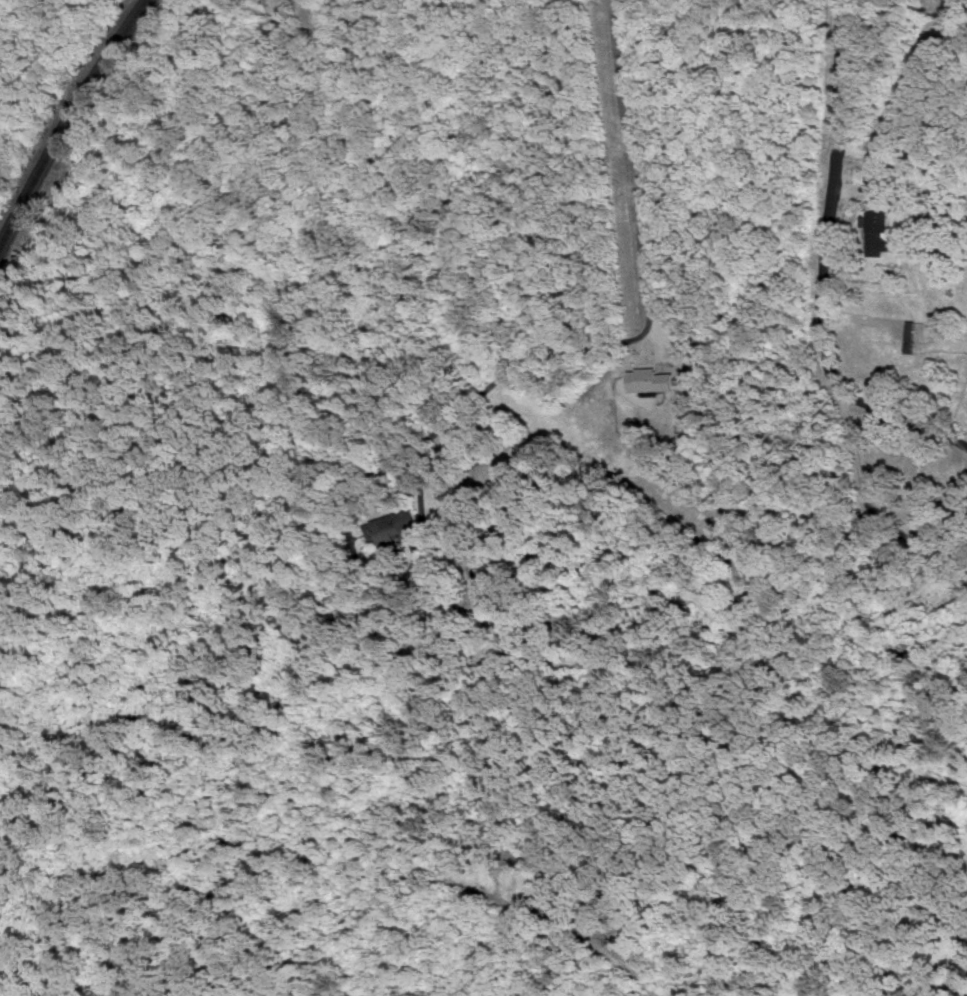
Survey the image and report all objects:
railway: (69, 122)
road: (629, 146)
building: (888, 193)
building: (876, 230)
road: (835, 266)
building: (652, 378)
road: (483, 390)
building: (395, 524)

